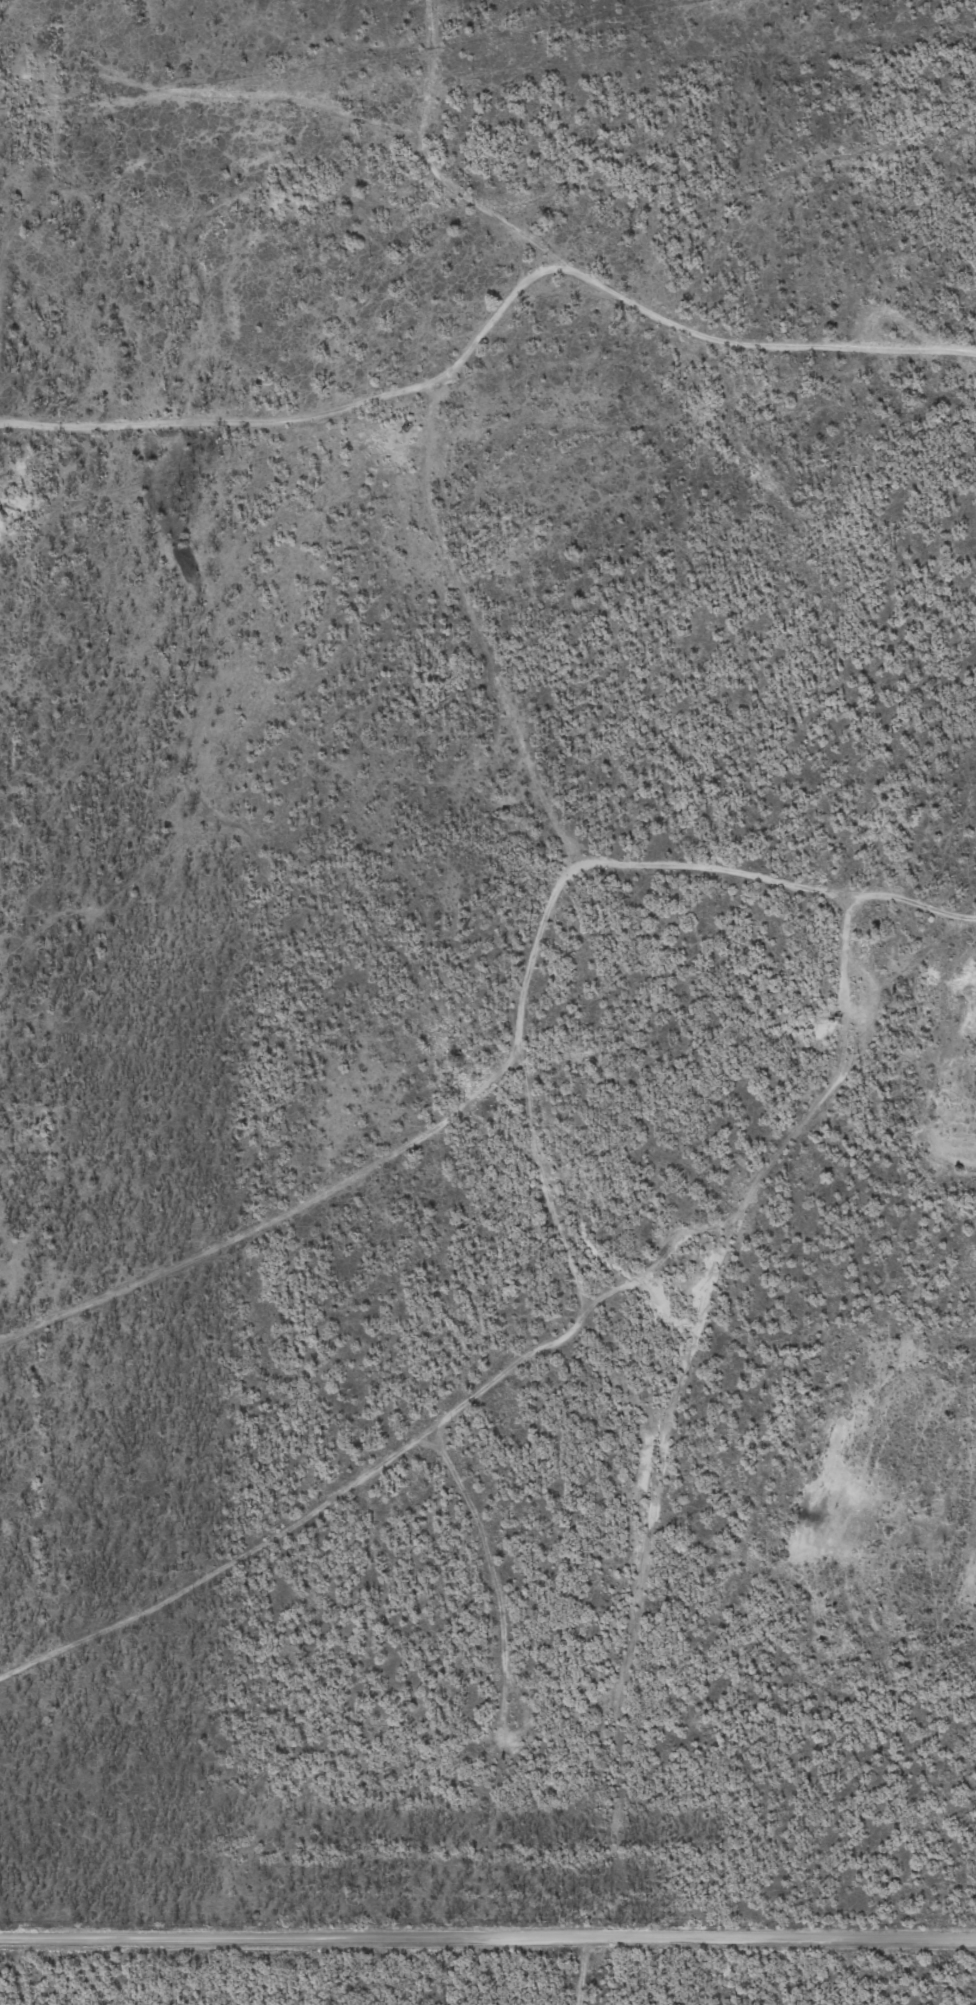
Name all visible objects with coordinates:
road: (428, 89)
road: (458, 195)
road: (396, 495)
road: (512, 1054)
road: (488, 1939)

